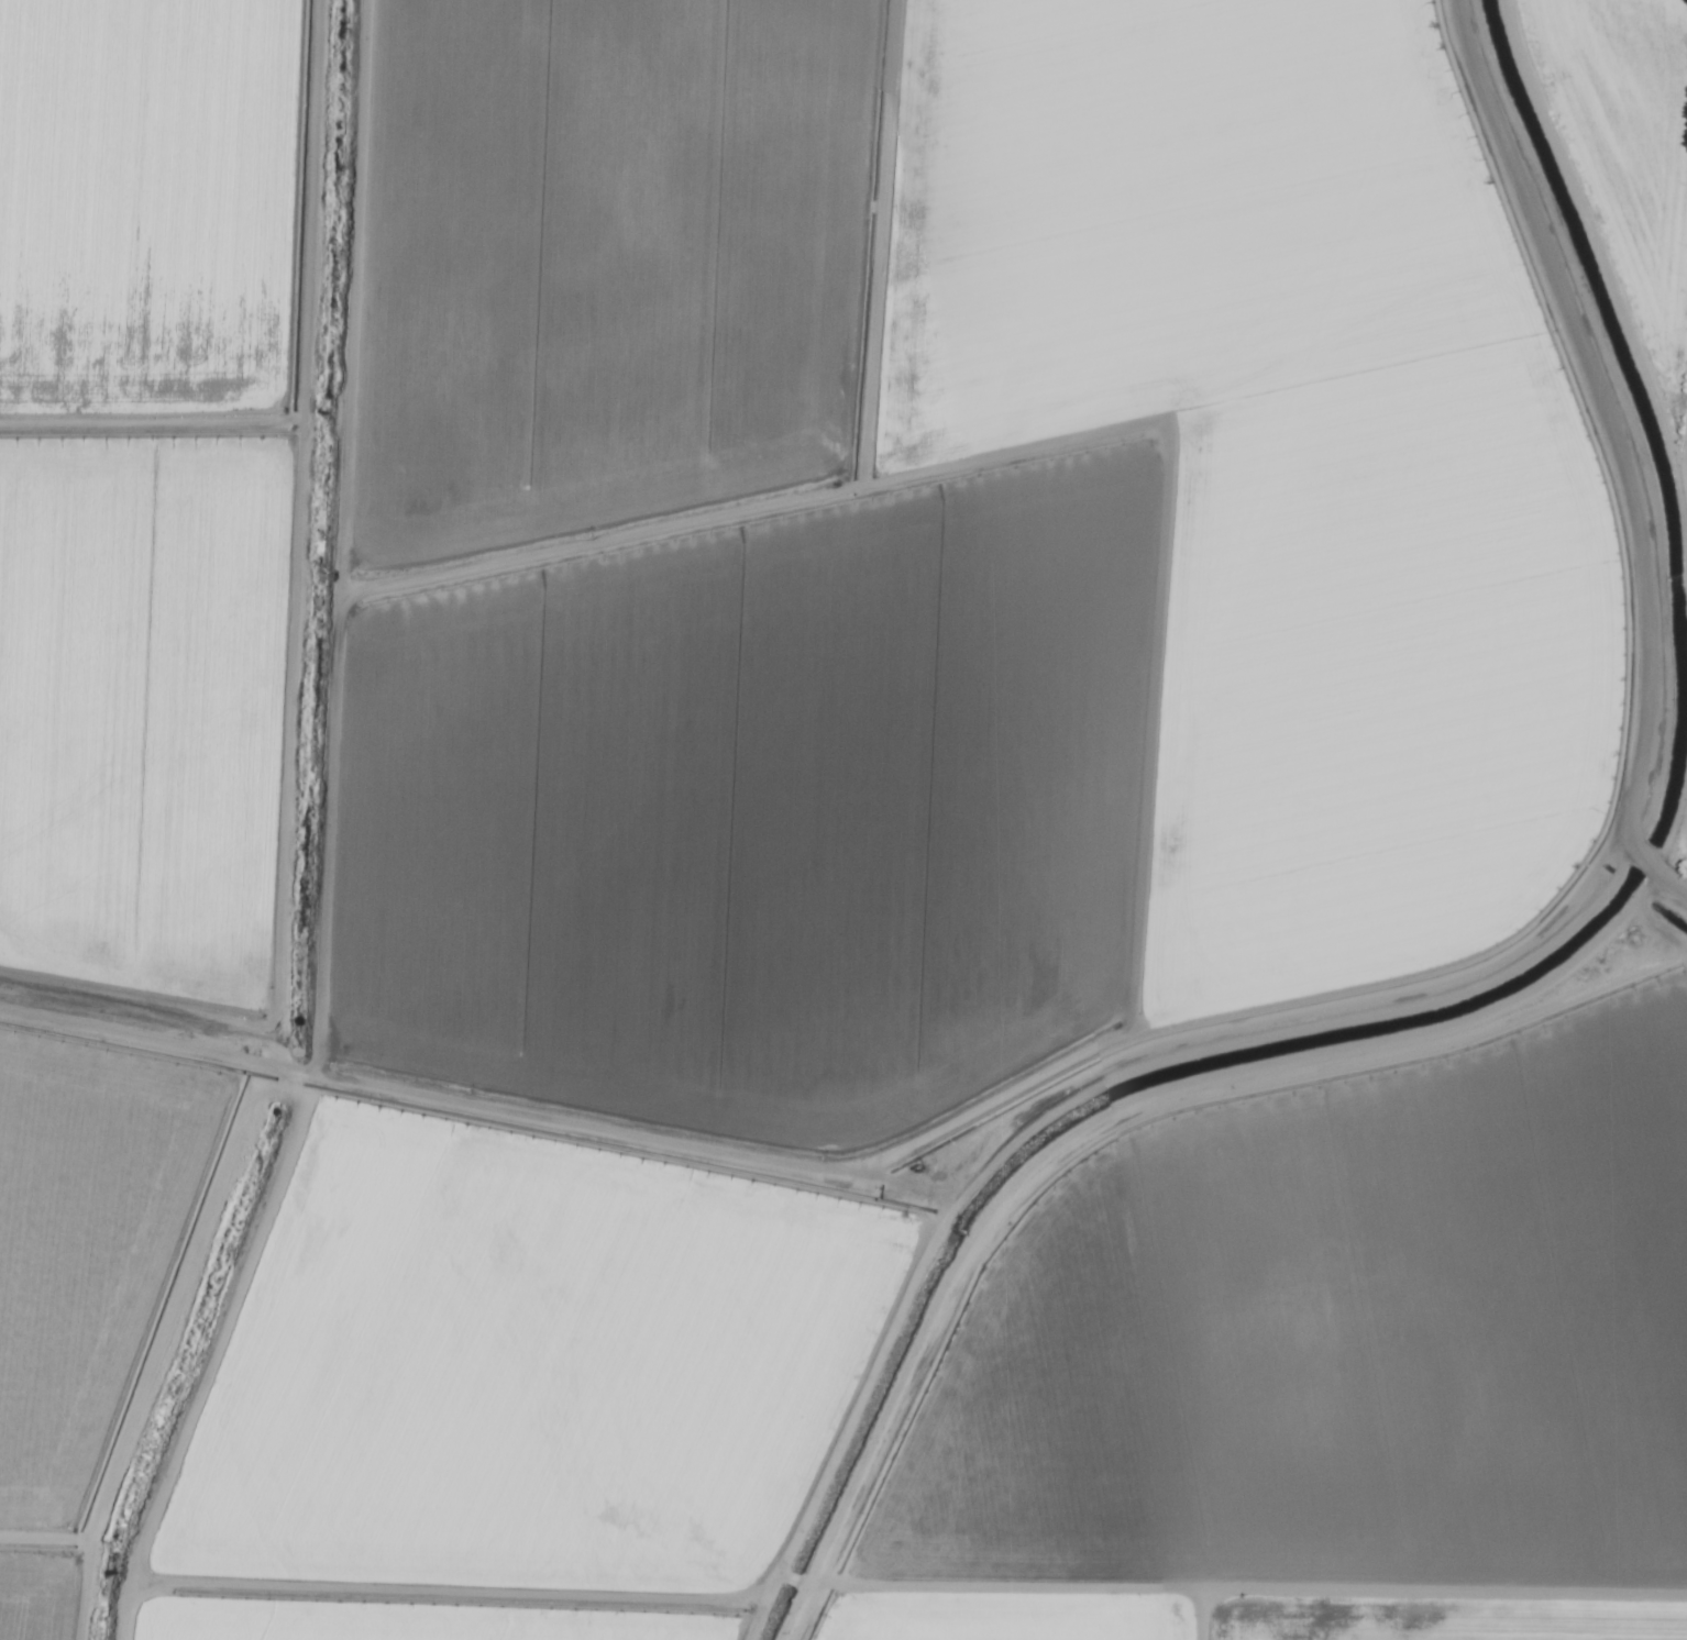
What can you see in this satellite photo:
crop: (773, 533)
road: (1645, 878)
road: (1481, 985)
road: (845, 1168)

